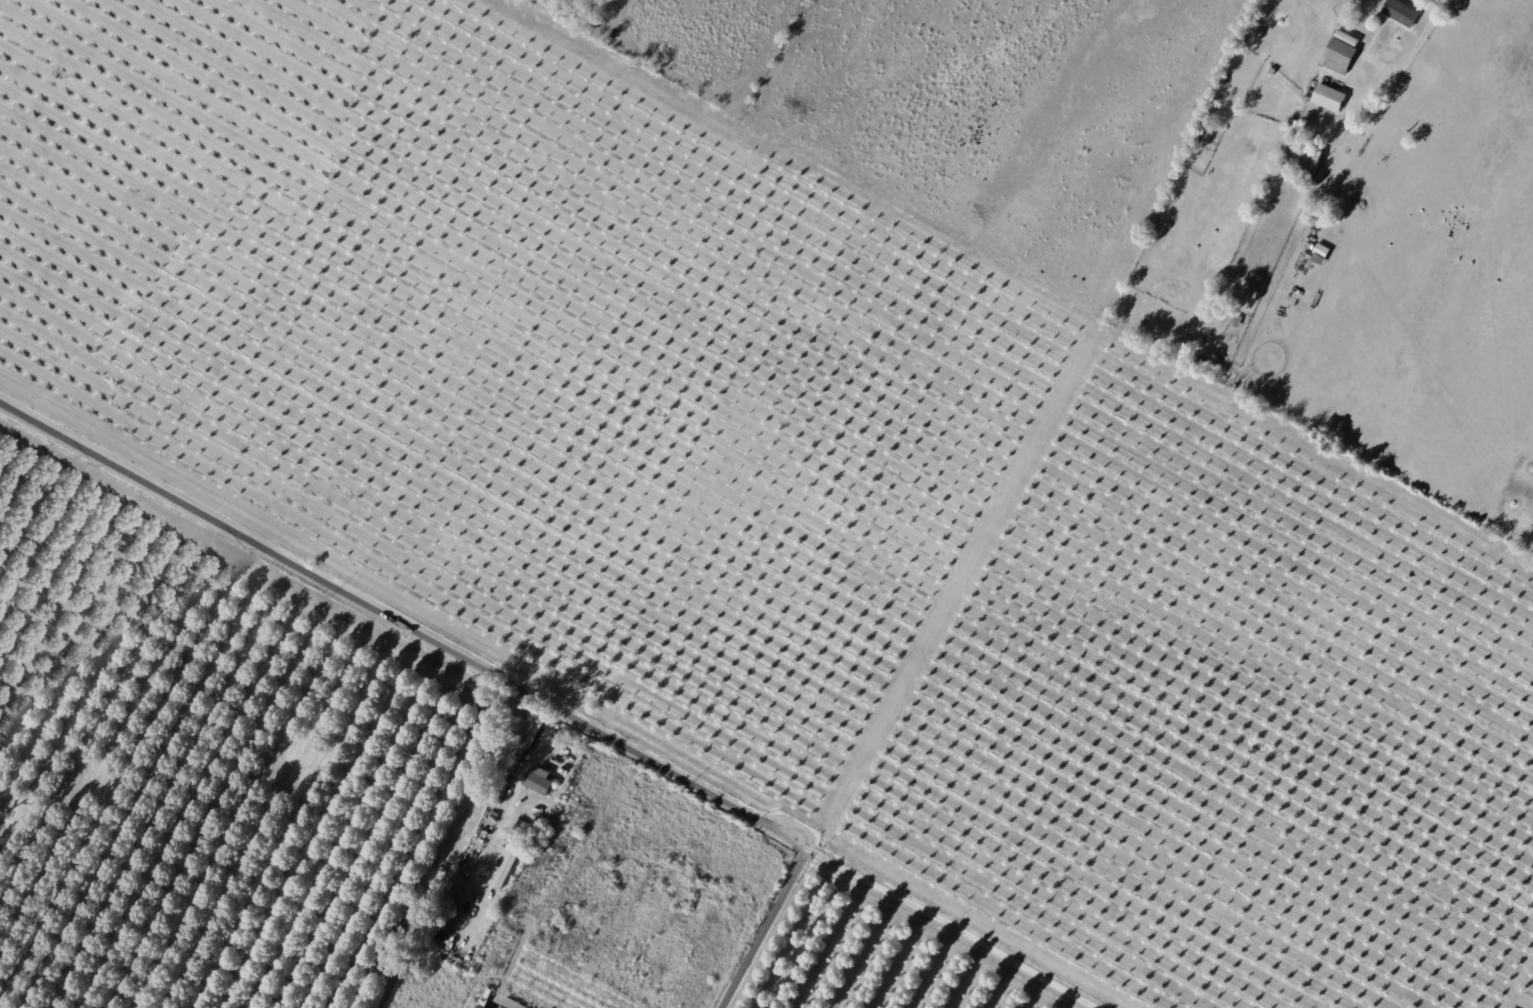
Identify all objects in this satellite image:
building: (1403, 14)
building: (1350, 40)
road: (1414, 48)
building: (1340, 57)
building: (1275, 72)
building: (1330, 98)
building: (1295, 122)
building: (1198, 142)
building: (1298, 145)
building: (1312, 160)
building: (1281, 171)
building: (1324, 252)
building: (1217, 309)
building: (1240, 321)
building: (1201, 361)
crop: (784, 488)
road: (482, 666)
building: (523, 752)
building: (568, 758)
building: (540, 782)
building: (564, 828)
building: (574, 838)
building: (545, 848)
building: (562, 851)
building: (508, 869)
road: (941, 925)
building: (482, 1003)

